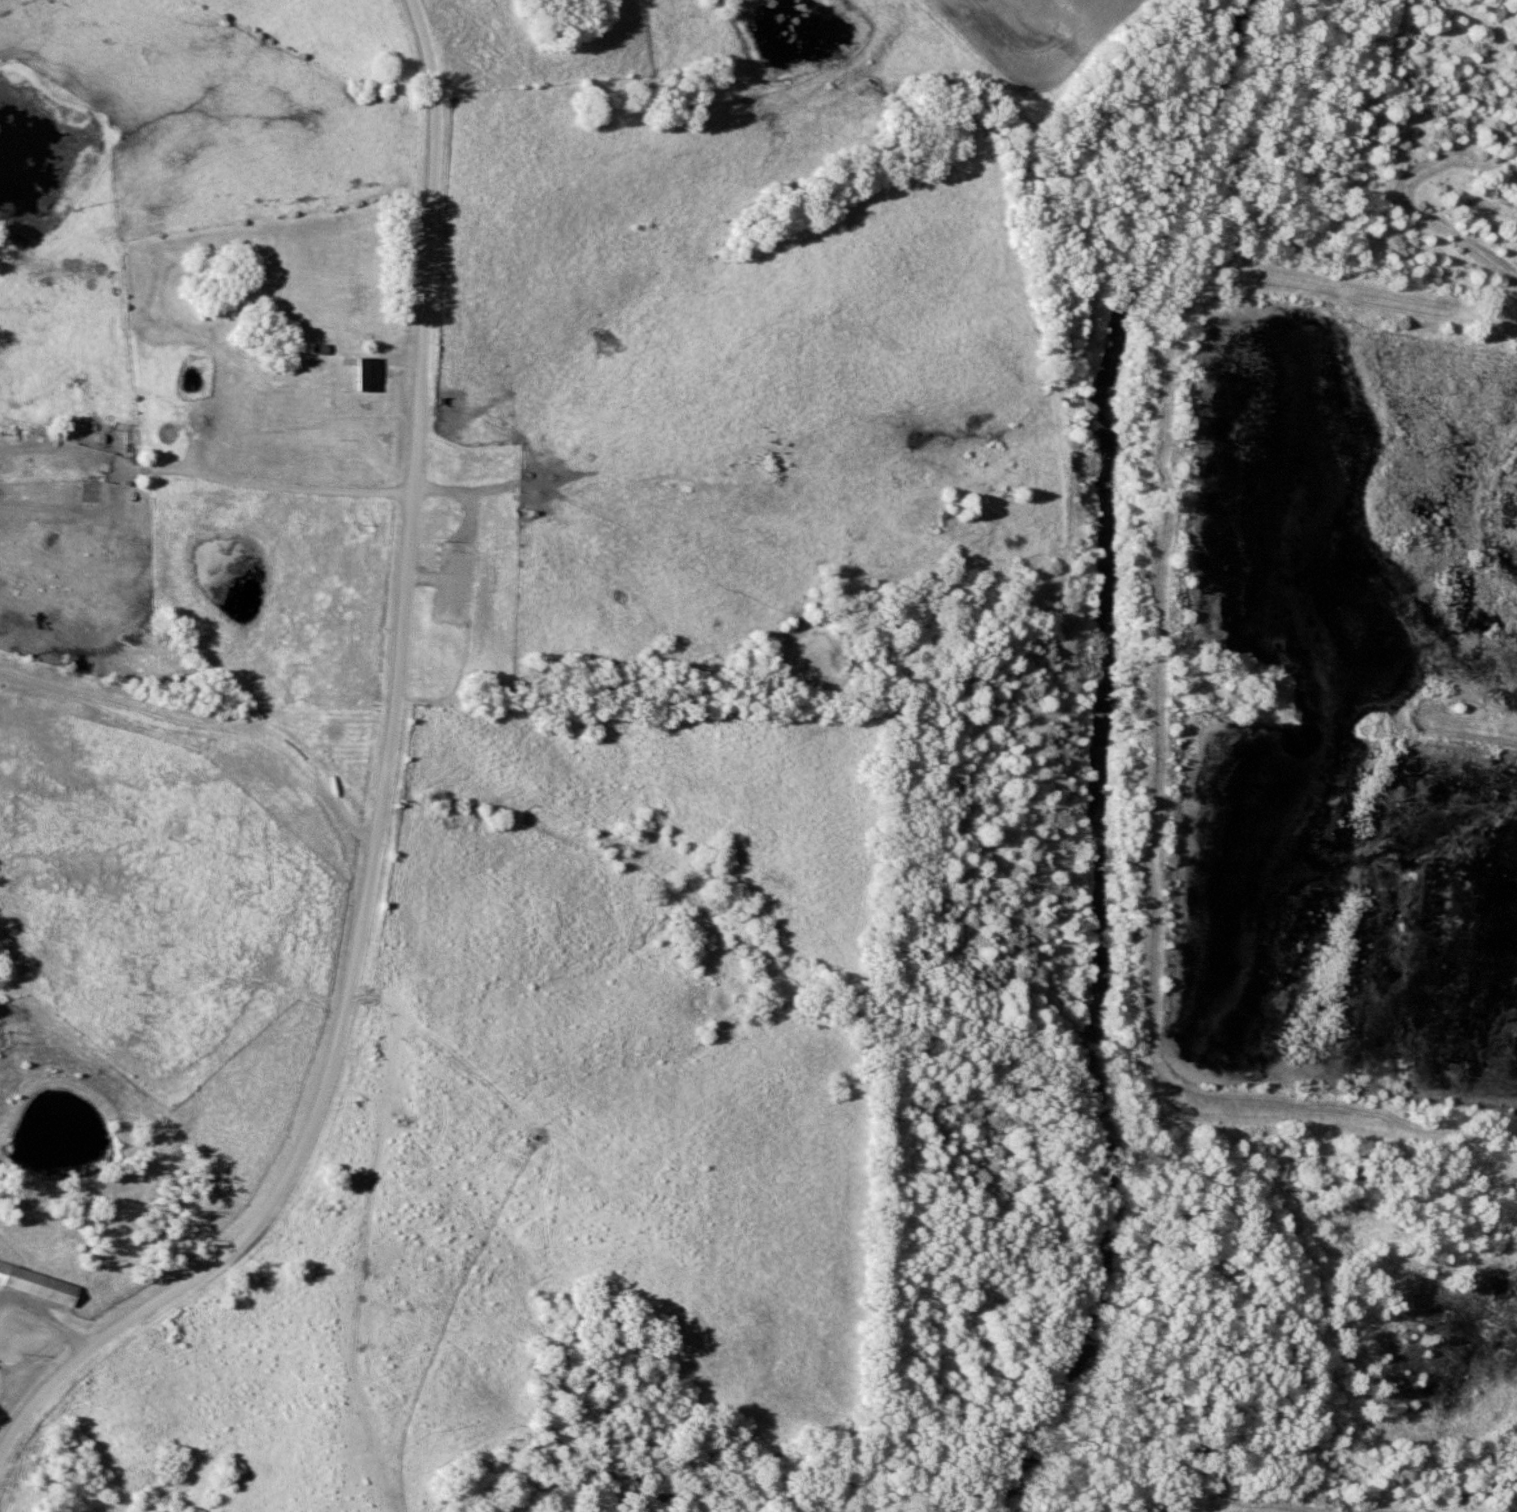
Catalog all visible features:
road: (203, 472)
building: (458, 588)
road: (206, 723)
road: (377, 792)
building: (40, 1284)
road: (1, 1299)
road: (47, 1316)

